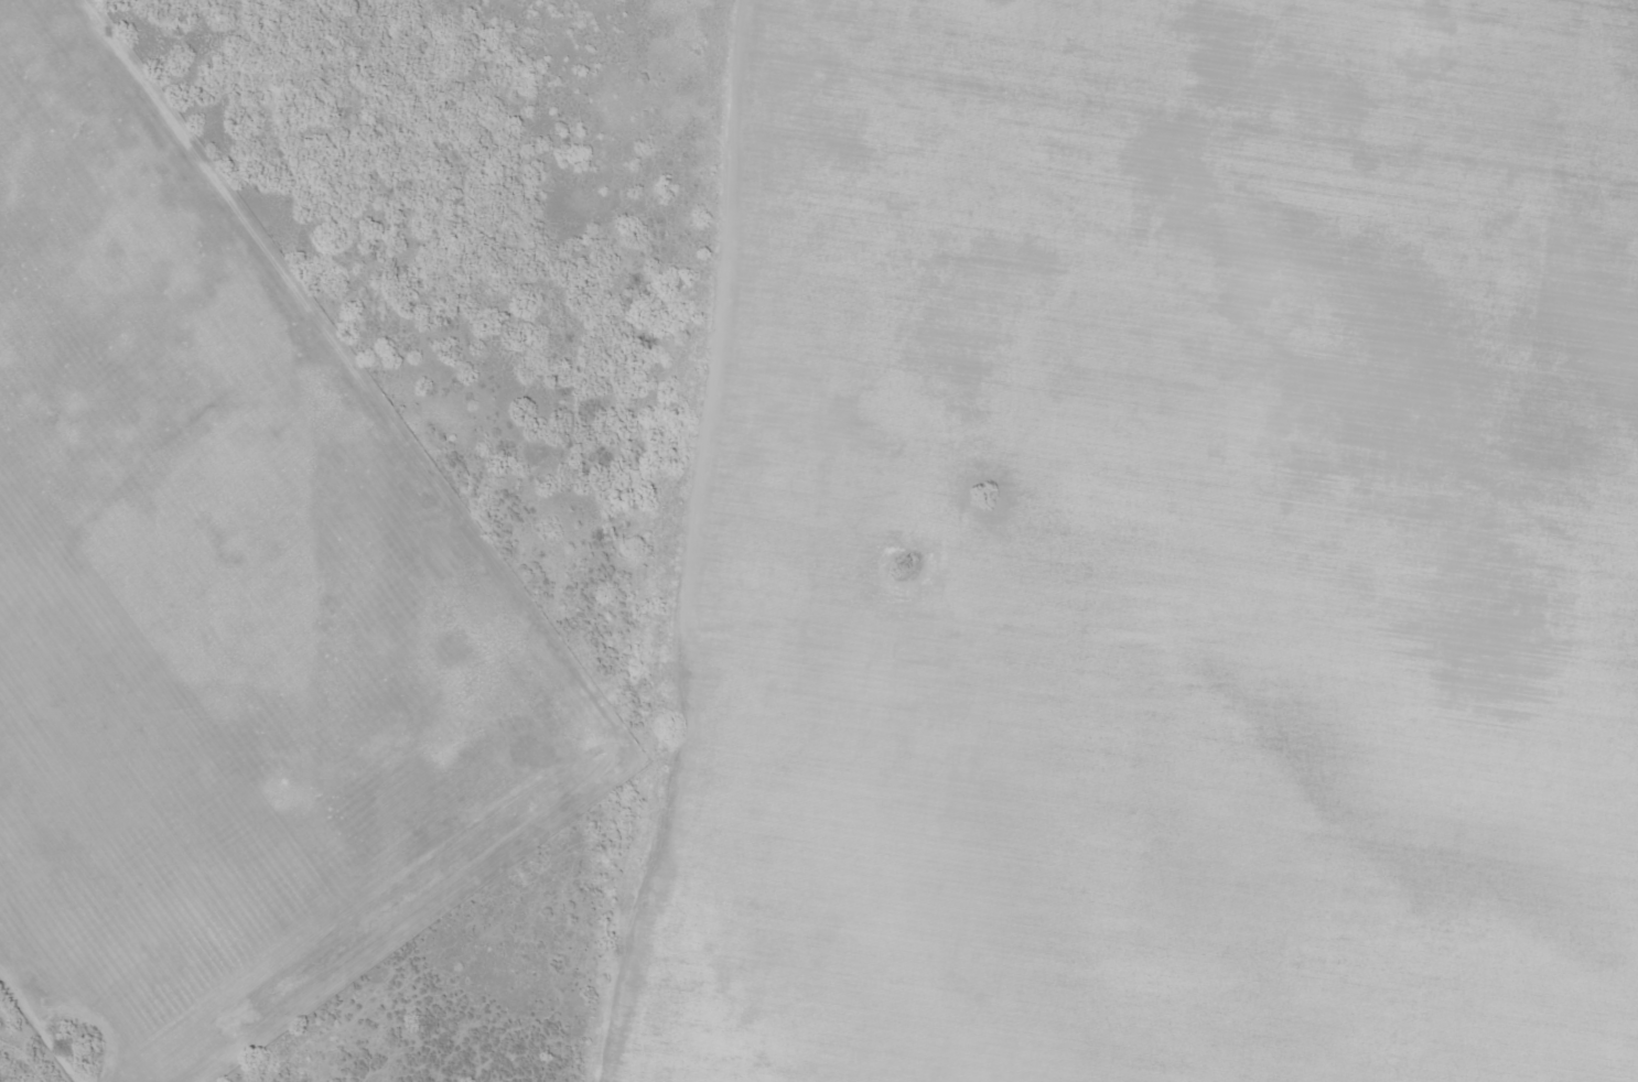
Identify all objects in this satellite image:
road: (731, 541)
airport: (225, 607)

